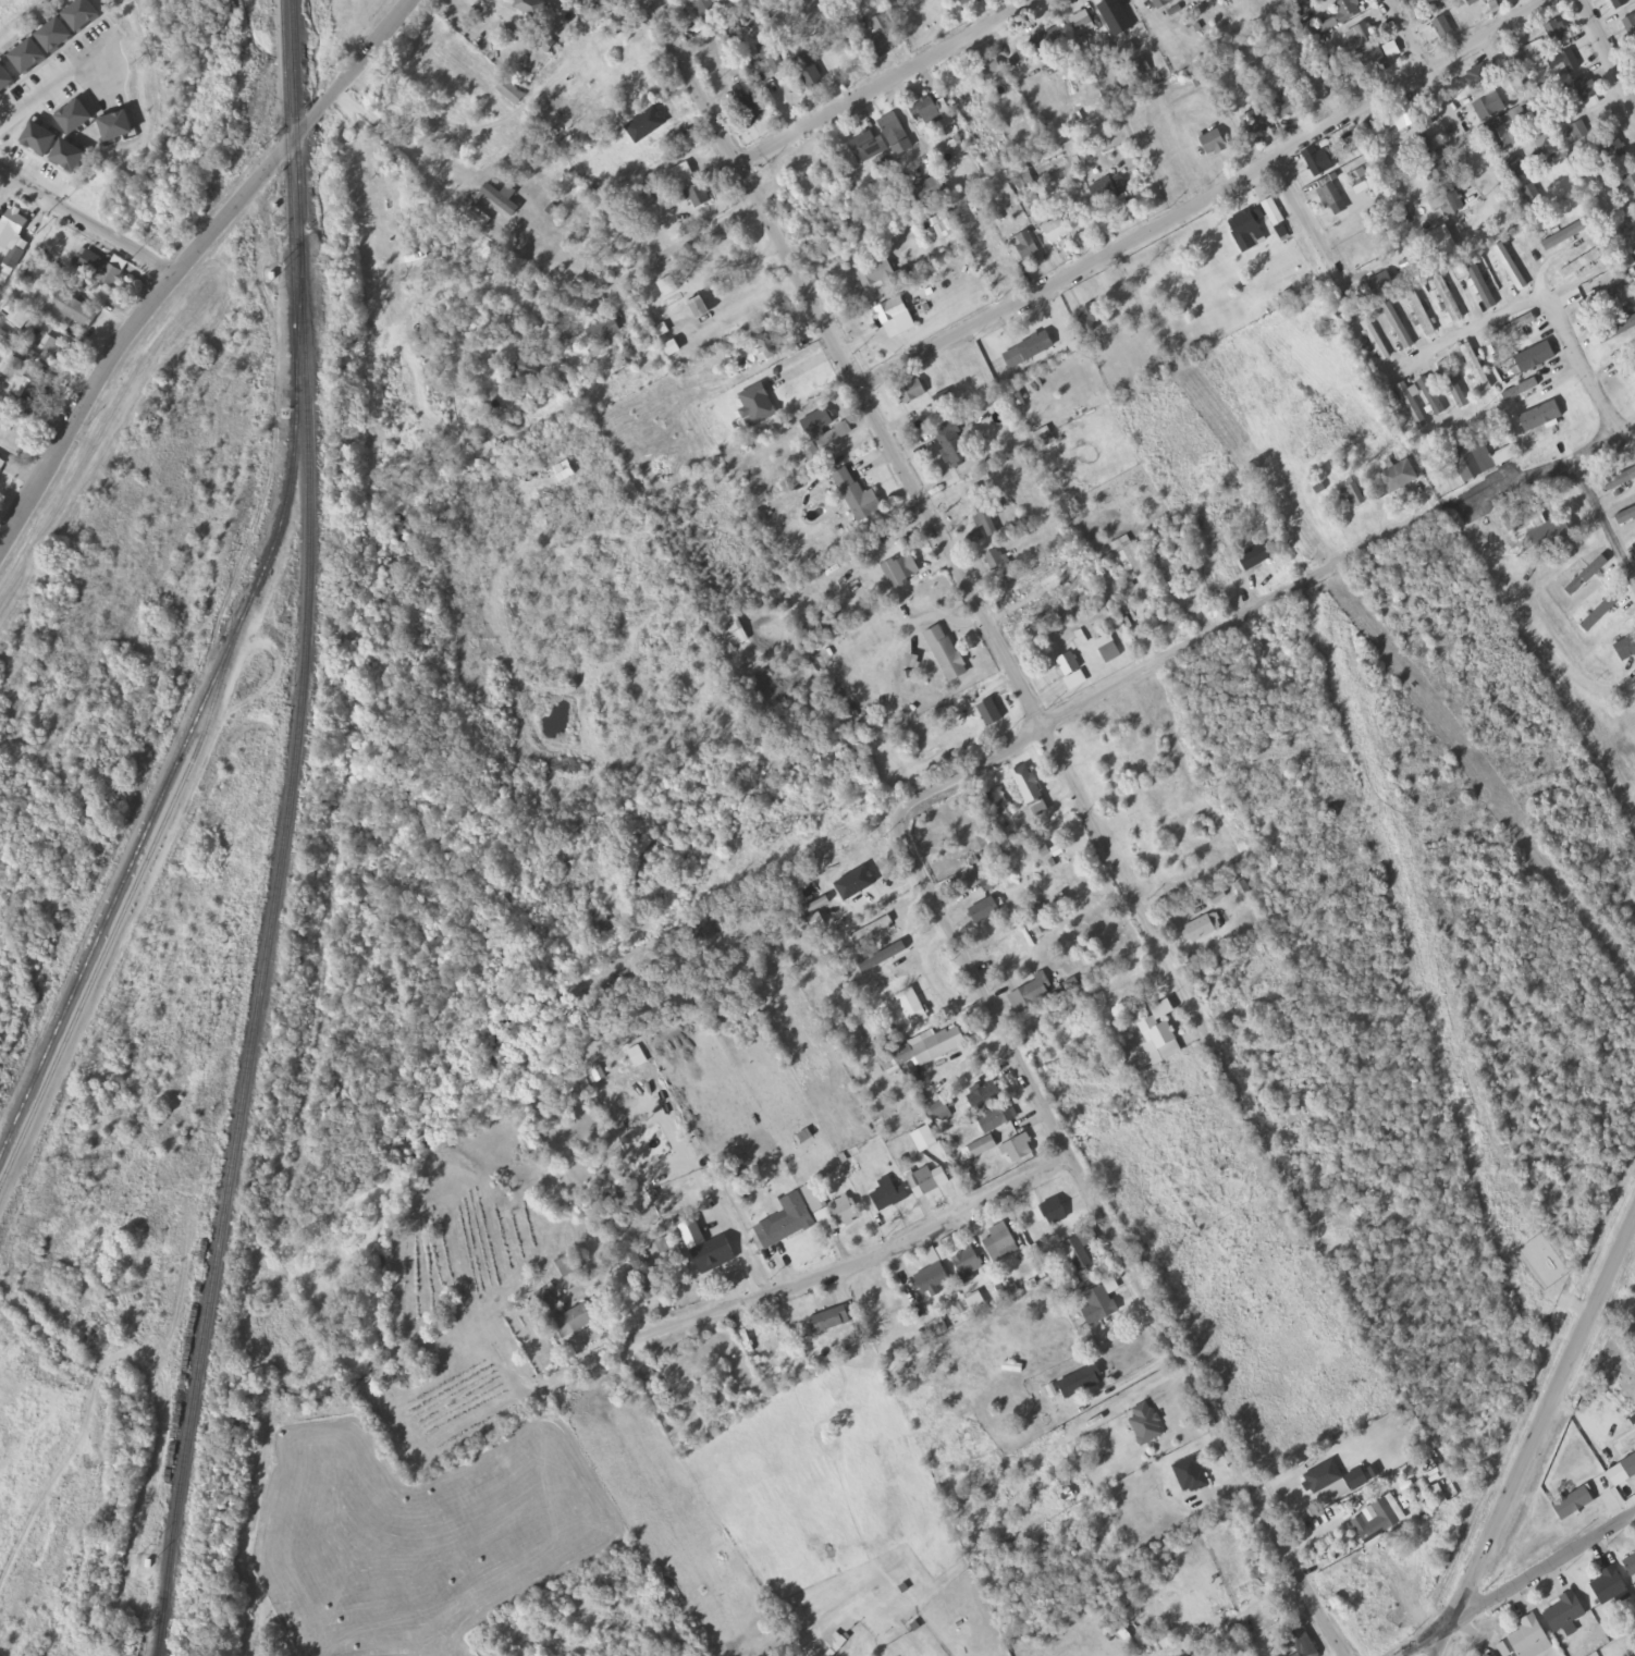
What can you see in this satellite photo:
building: (1515, 0)
building: (968, 2)
building: (1161, 3)
building: (1621, 3)
building: (1428, 4)
building: (531, 9)
building: (1347, 11)
building: (711, 13)
building: (1116, 19)
building: (1081, 24)
building: (1630, 27)
building: (1442, 29)
building: (1554, 33)
building: (884, 37)
building: (1360, 37)
building: (1046, 41)
building: (1634, 46)
road: (1607, 52)
building: (1528, 53)
building: (1373, 60)
building: (770, 62)
building: (1565, 65)
building: (1141, 70)
building: (991, 72)
building: (809, 73)
building: (1477, 78)
road: (889, 84)
building: (1311, 84)
building: (1587, 90)
building: (511, 94)
road: (1436, 102)
building: (747, 105)
building: (926, 108)
building: (1288, 108)
building: (1489, 108)
building: (1404, 118)
railway: (288, 119)
building: (1256, 127)
building: (893, 131)
building: (1505, 131)
building: (1578, 132)
building: (1214, 145)
building: (1422, 146)
building: (1547, 146)
building: (865, 148)
building: (1614, 152)
building: (1319, 163)
building: (1517, 167)
building: (1439, 174)
building: (680, 175)
building: (1360, 177)
building: (1627, 186)
road: (1218, 189)
building: (1109, 191)
building: (1332, 196)
building: (1533, 196)
building: (698, 197)
building: (1451, 205)
building: (1271, 210)
road: (88, 222)
road: (1306, 222)
building: (11, 226)
building: (1056, 232)
building: (1246, 232)
building: (1565, 236)
road: (187, 259)
building: (1581, 265)
building: (103, 270)
building: (1512, 272)
building: (876, 277)
building: (1479, 283)
building: (668, 289)
building: (1603, 298)
road: (1539, 303)
building: (701, 310)
building: (75, 311)
building: (890, 312)
building: (1421, 314)
railway: (299, 315)
building: (1092, 317)
building: (1398, 327)
building: (1514, 329)
building: (1618, 331)
building: (604, 335)
building: (1375, 342)
building: (17, 347)
building: (772, 347)
building: (1029, 352)
building: (61, 357)
building: (1527, 358)
road: (849, 363)
building: (1627, 368)
building: (1476, 369)
building: (527, 370)
building: (799, 387)
building: (1453, 387)
building: (1520, 391)
building: (911, 393)
building: (12, 424)
building: (825, 441)
building: (952, 444)
building: (1479, 459)
building: (1, 466)
building: (1399, 478)
building: (1618, 481)
building: (1352, 495)
building: (858, 498)
building: (1522, 516)
building: (1625, 517)
road: (1601, 522)
building: (1553, 538)
building: (1632, 554)
building: (1255, 557)
building: (999, 565)
road: (1326, 568)
building: (901, 572)
building: (1586, 577)
building: (1606, 608)
building: (1625, 648)
building: (1109, 653)
building: (946, 654)
building: (1071, 672)
railway: (200, 710)
building: (991, 714)
building: (1024, 781)
railway: (284, 821)
building: (984, 908)
building: (1037, 919)
railway: (121, 920)
building: (598, 921)
building: (1200, 925)
building: (871, 928)
road: (1179, 976)
building: (1029, 991)
building: (911, 1005)
building: (1156, 1040)
building: (936, 1044)
building: (983, 1094)
building: (941, 1106)
building: (995, 1117)
building: (923, 1138)
building: (978, 1145)
building: (1016, 1145)
road: (1071, 1164)
building: (921, 1181)
building: (887, 1192)
building: (814, 1199)
building: (843, 1210)
building: (1053, 1210)
building: (785, 1220)
building: (997, 1240)
building: (1077, 1254)
building: (966, 1260)
building: (641, 1271)
road: (851, 1271)
building: (931, 1277)
building: (1098, 1305)
building: (551, 1309)
building: (575, 1318)
building: (828, 1318)
building: (767, 1342)
building: (1084, 1379)
building: (663, 1402)
building: (1146, 1425)
road: (1534, 1435)
building: (1628, 1464)
building: (1191, 1475)
building: (1321, 1475)
building: (1356, 1477)
building: (1572, 1502)
building: (1378, 1522)
road: (1583, 1545)
building: (1630, 1562)
building: (1610, 1586)
building: (1564, 1611)
road: (1463, 1617)
building: (1528, 1637)
building: (1303, 1644)
railway: (157, 1645)
railway: (158, 1645)
building: (1484, 1655)

